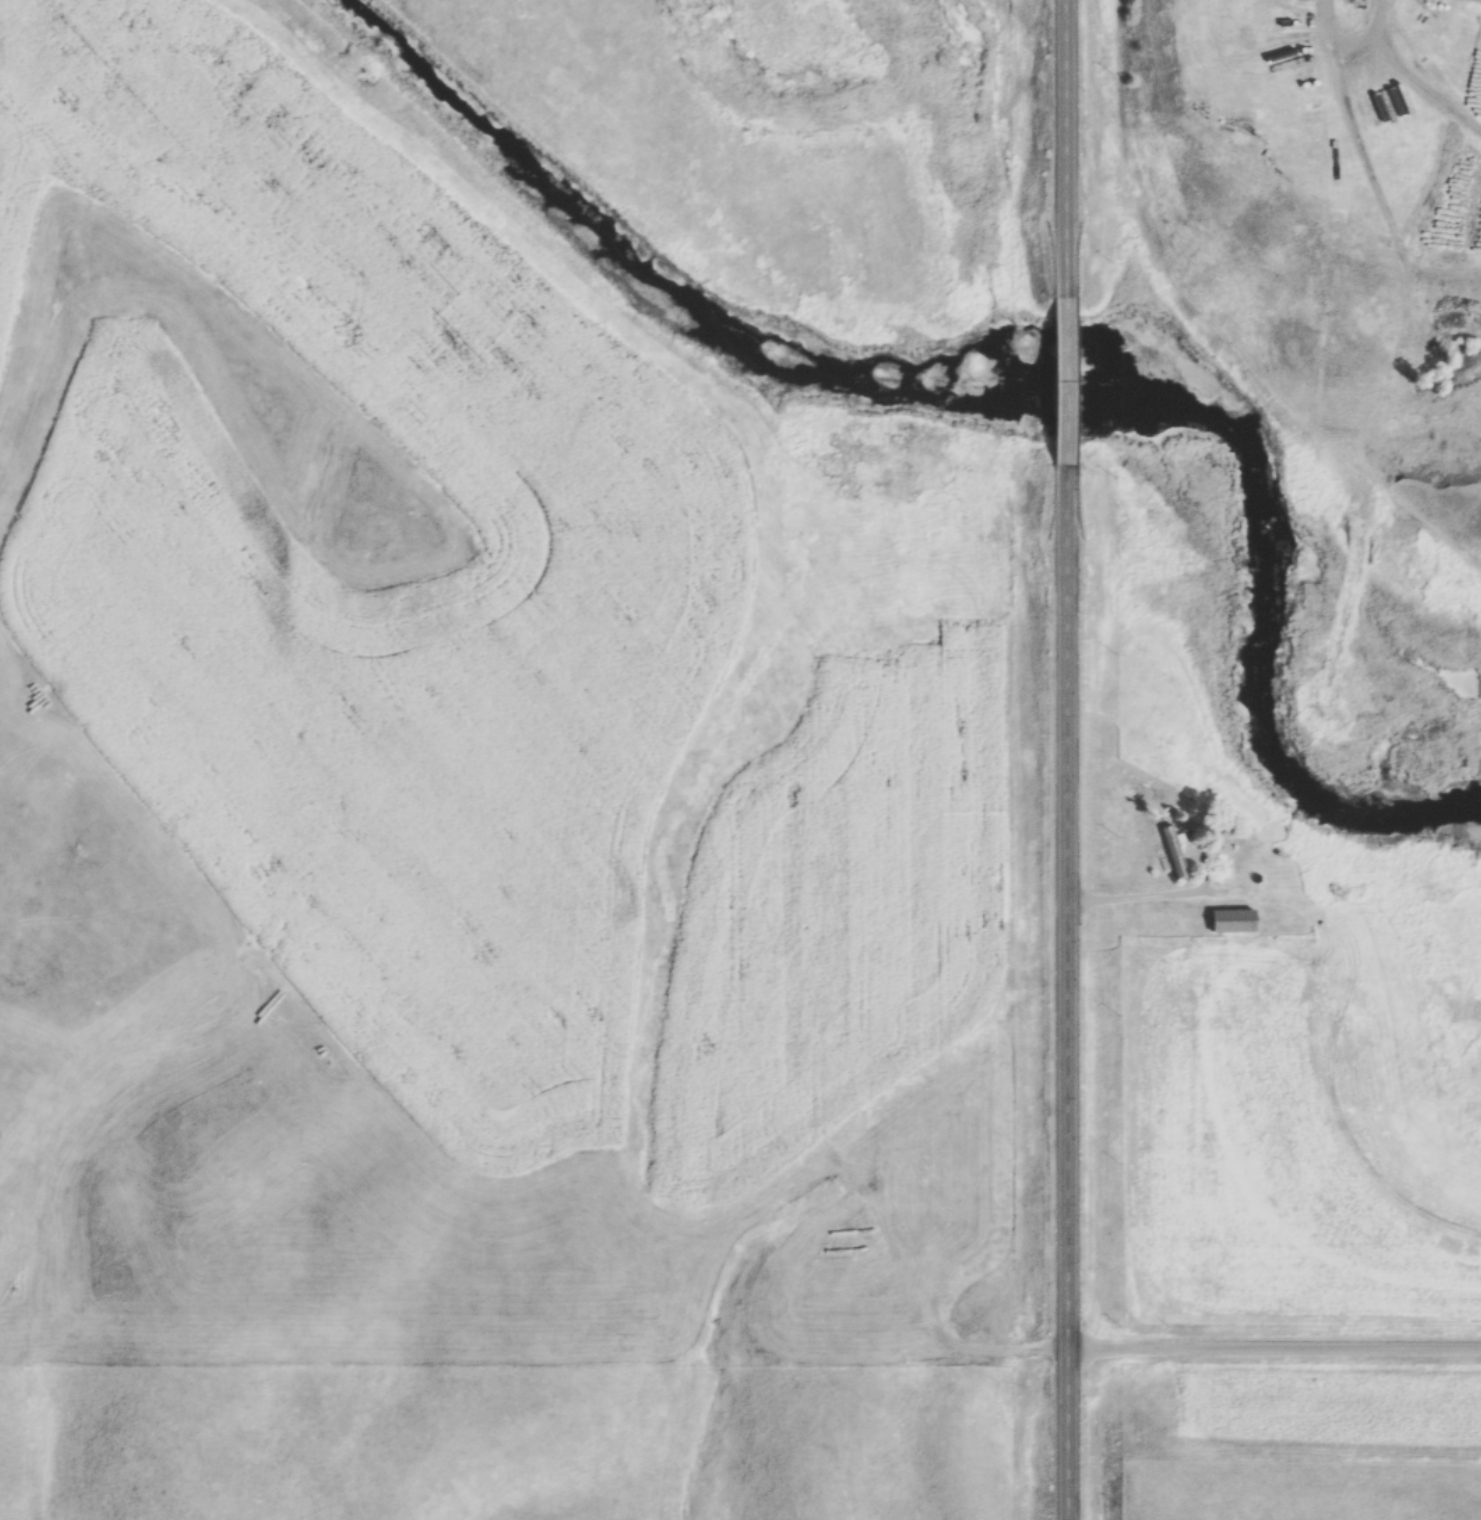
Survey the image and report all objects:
road: (1063, 146)
road: (1064, 379)
building: (1173, 851)
road: (1133, 896)
building: (1232, 919)
road: (1065, 993)
road: (1273, 1333)

